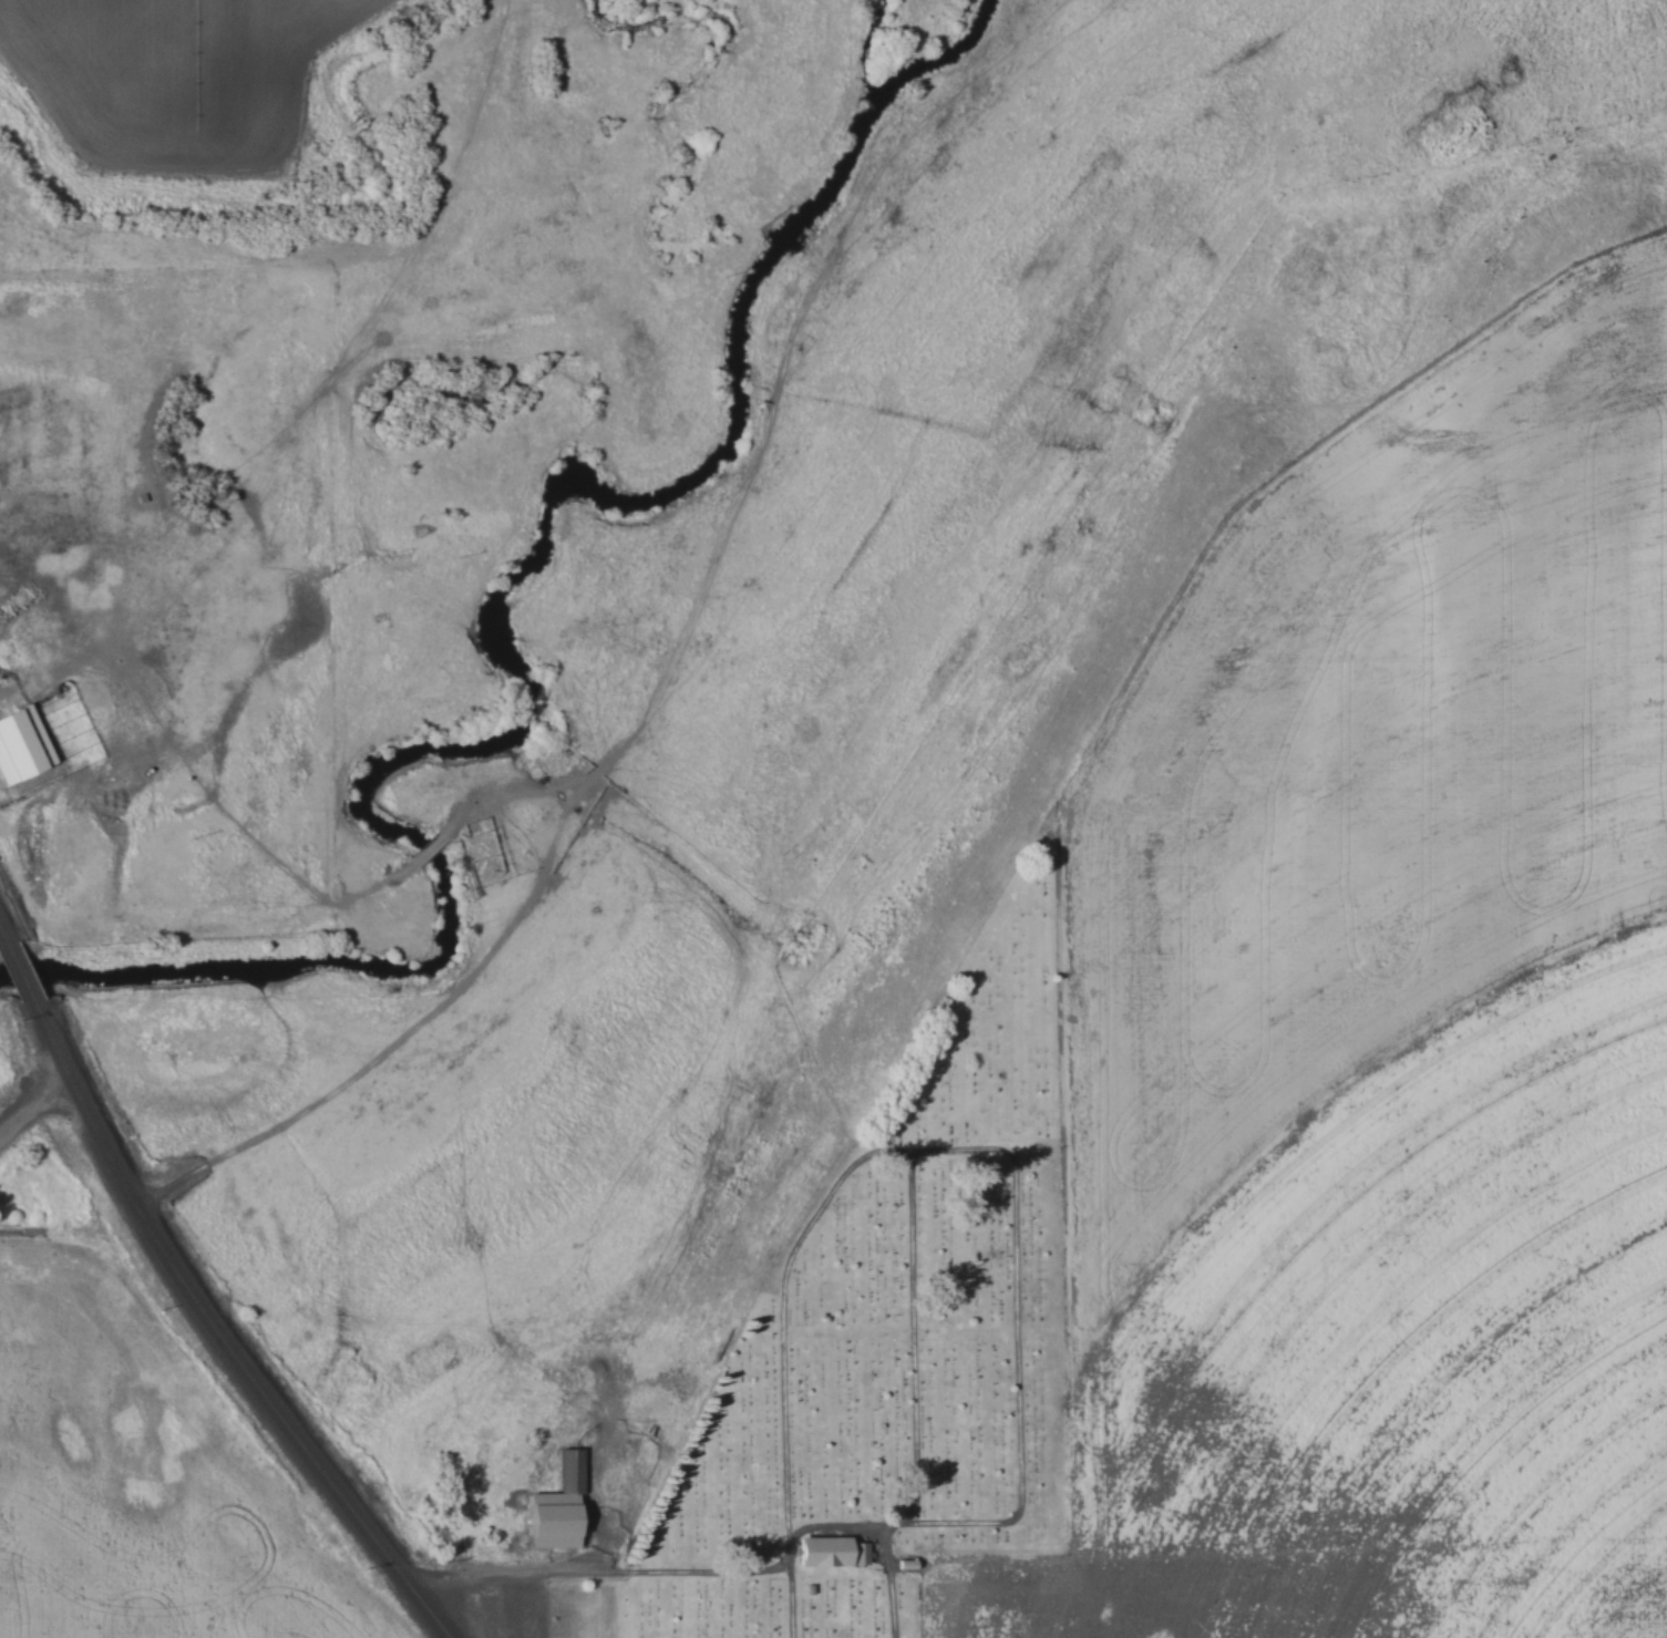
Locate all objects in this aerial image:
road: (678, 661)
road: (552, 780)
road: (428, 843)
road: (1, 931)
road: (19, 969)
road: (32, 1100)
road: (219, 1336)
park: (894, 1349)
building: (558, 1505)
building: (833, 1551)
road: (938, 1603)

